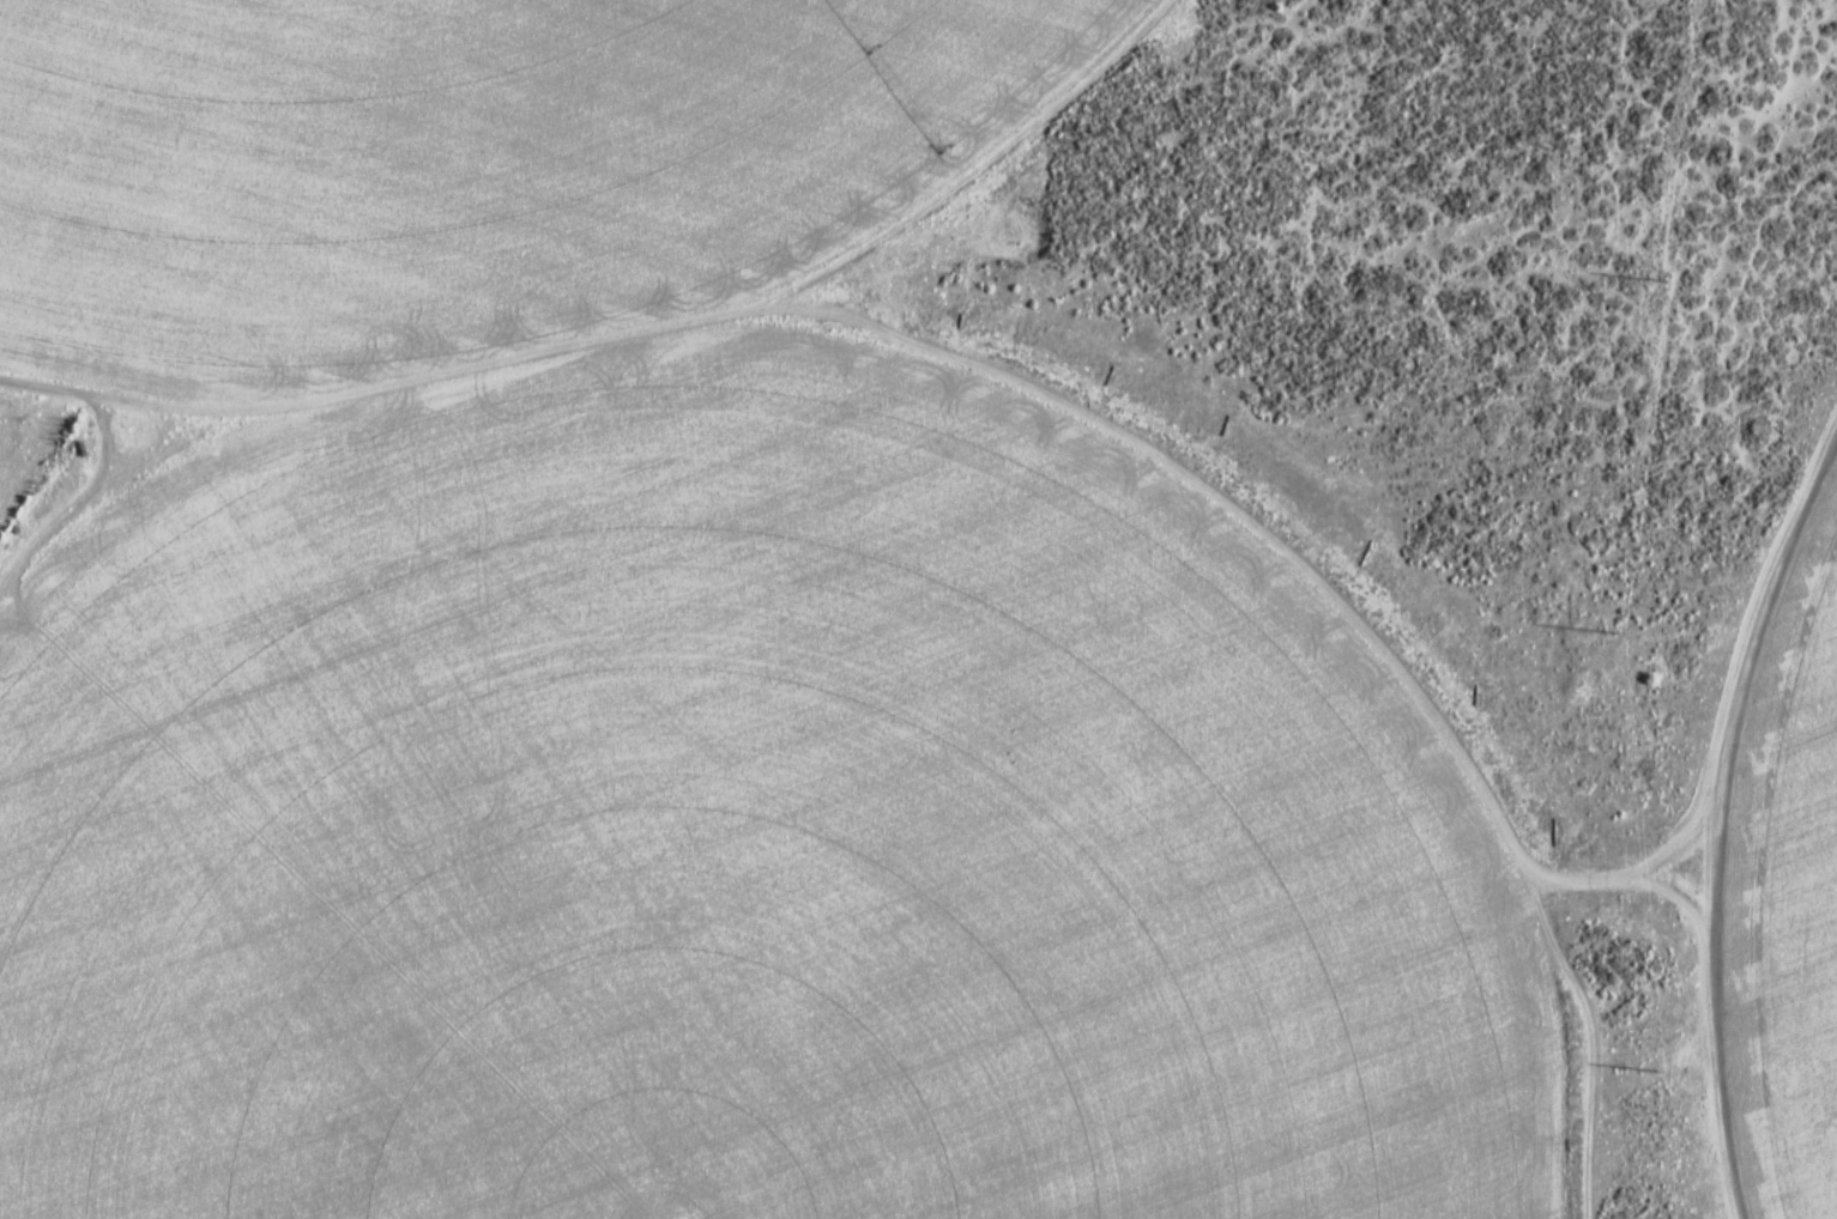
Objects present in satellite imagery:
crop: (475, 165)
crop: (724, 847)
crop: (1788, 894)

